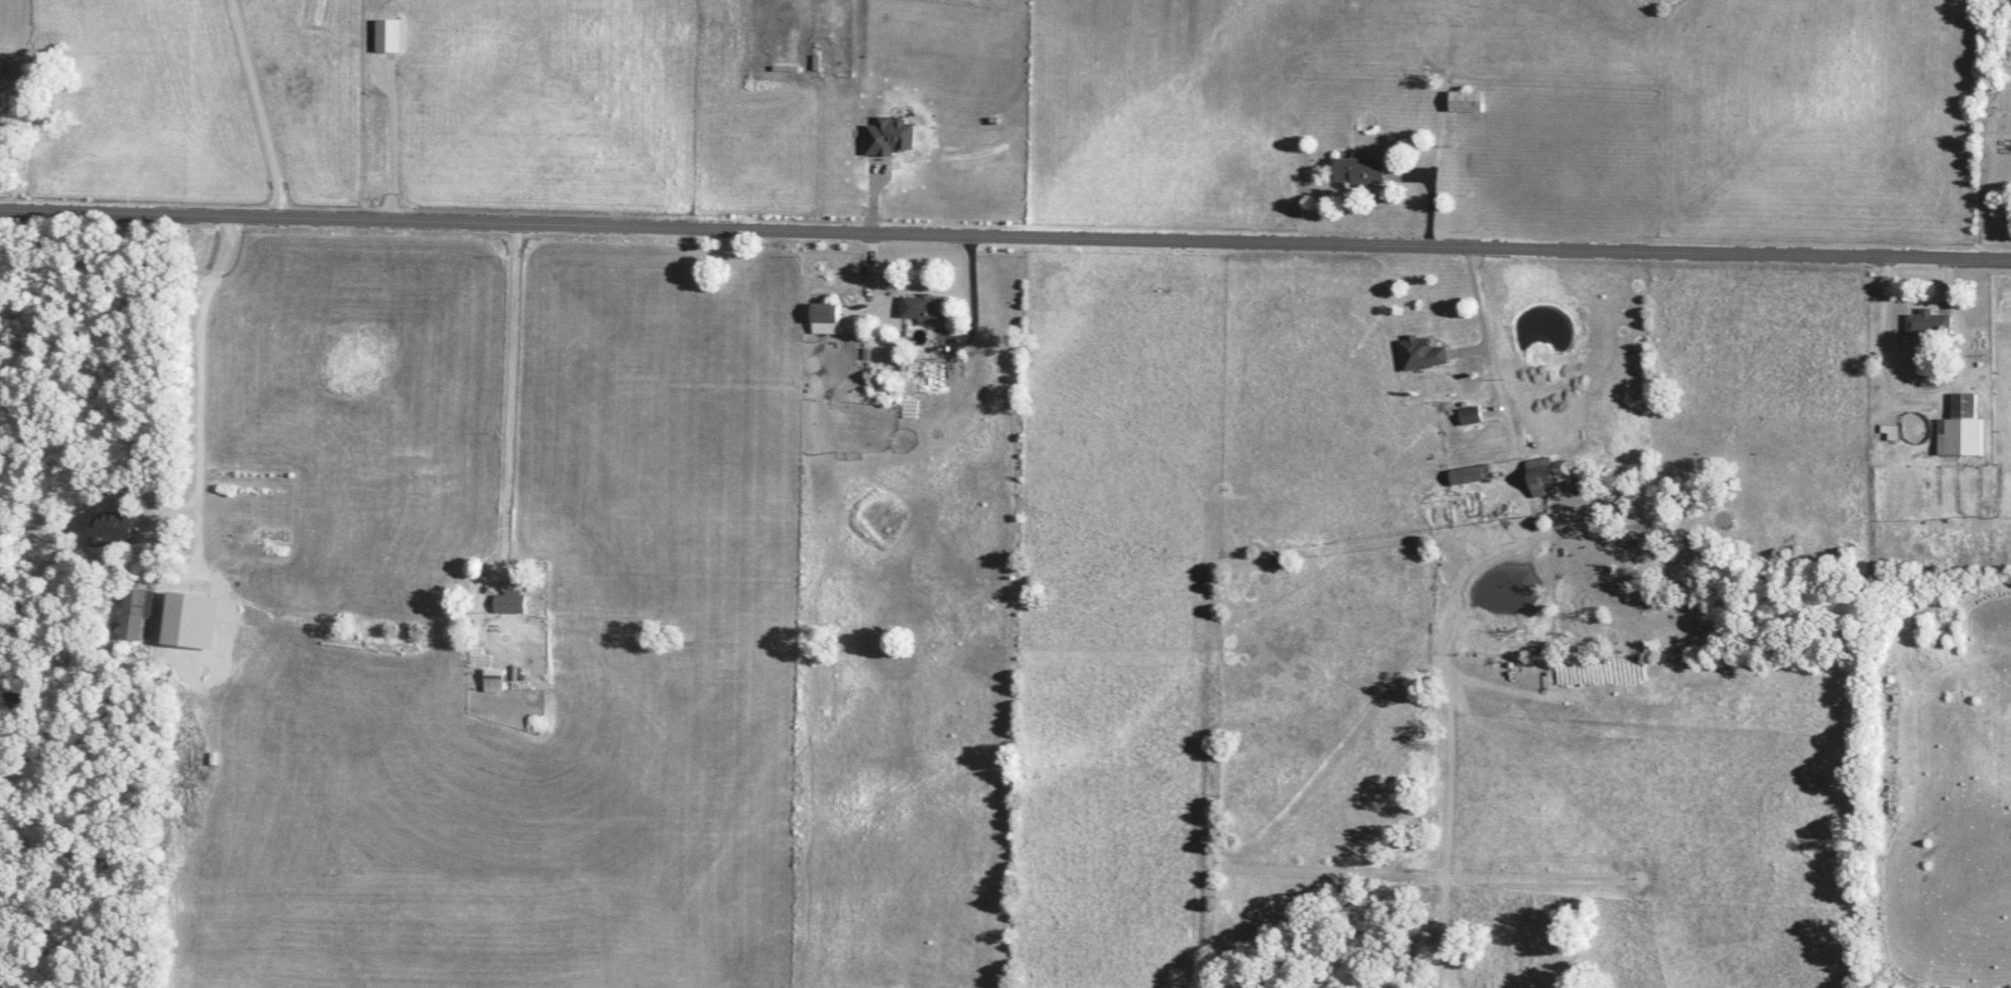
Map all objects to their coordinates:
building: (1465, 102)
road: (258, 107)
building: (1359, 172)
road: (1005, 237)
building: (922, 308)
road: (978, 310)
road: (1485, 317)
building: (825, 319)
building: (1929, 325)
building: (1420, 354)
road: (1892, 363)
road: (199, 404)
road: (514, 404)
building: (1470, 416)
building: (1961, 429)
building: (1464, 475)
building: (1540, 477)
building: (117, 528)
building: (508, 604)
building: (493, 681)

